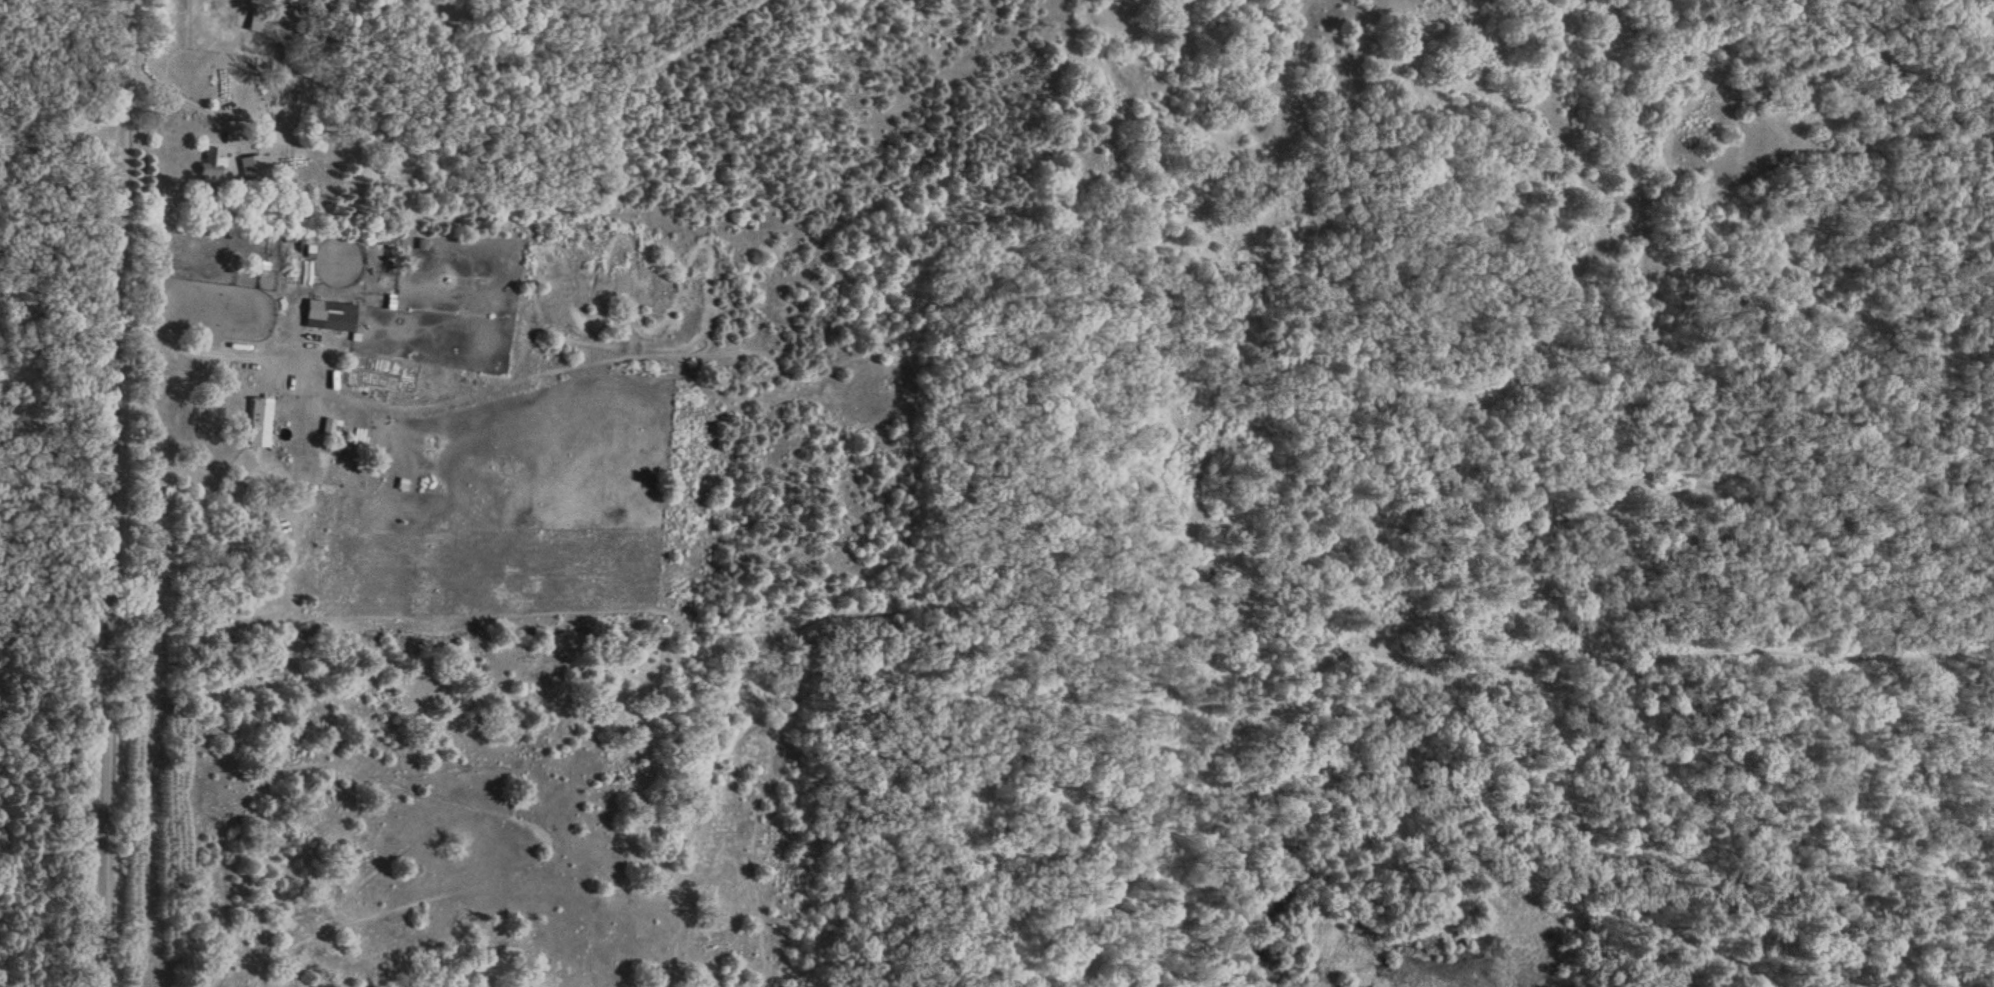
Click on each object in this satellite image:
building: (254, 26)
road: (185, 88)
building: (209, 167)
building: (249, 170)
building: (312, 317)
building: (348, 317)
road: (325, 380)
building: (256, 425)
road: (99, 493)
road: (48, 593)

